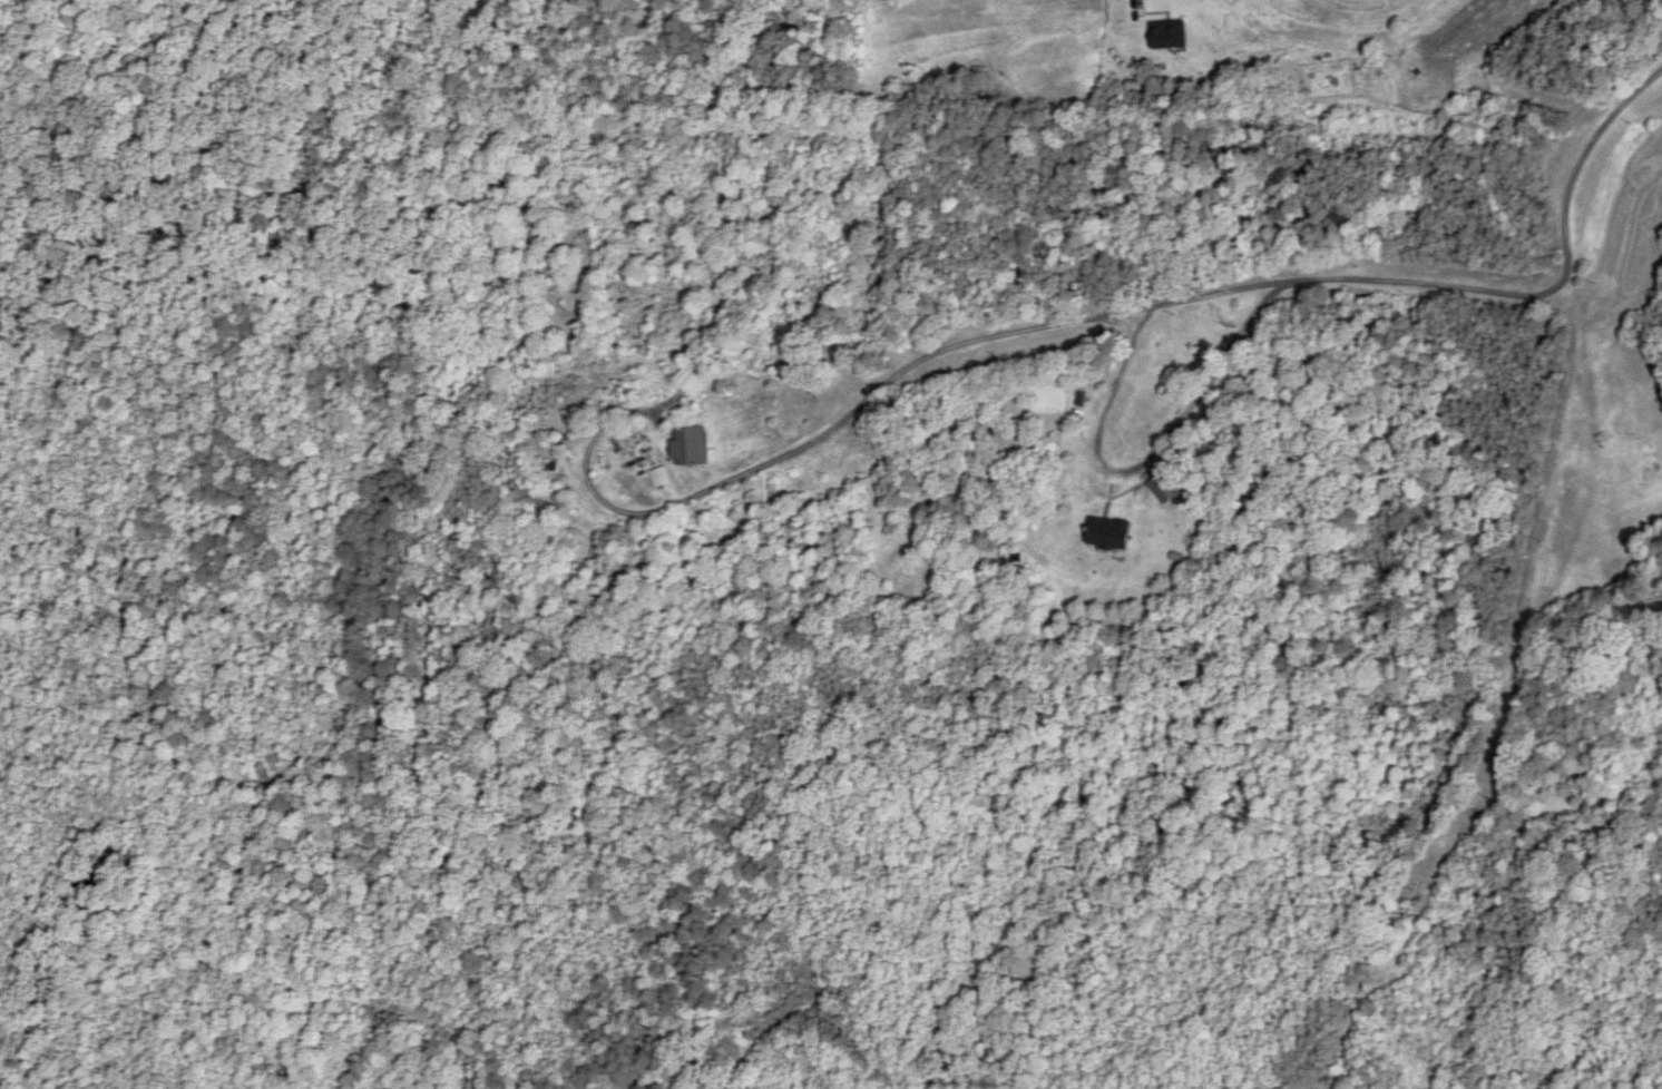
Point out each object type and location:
building: (1171, 36)
road: (1075, 322)
road: (1576, 325)
building: (691, 381)
building: (692, 445)
road: (1142, 461)
building: (1162, 489)
building: (1113, 533)

